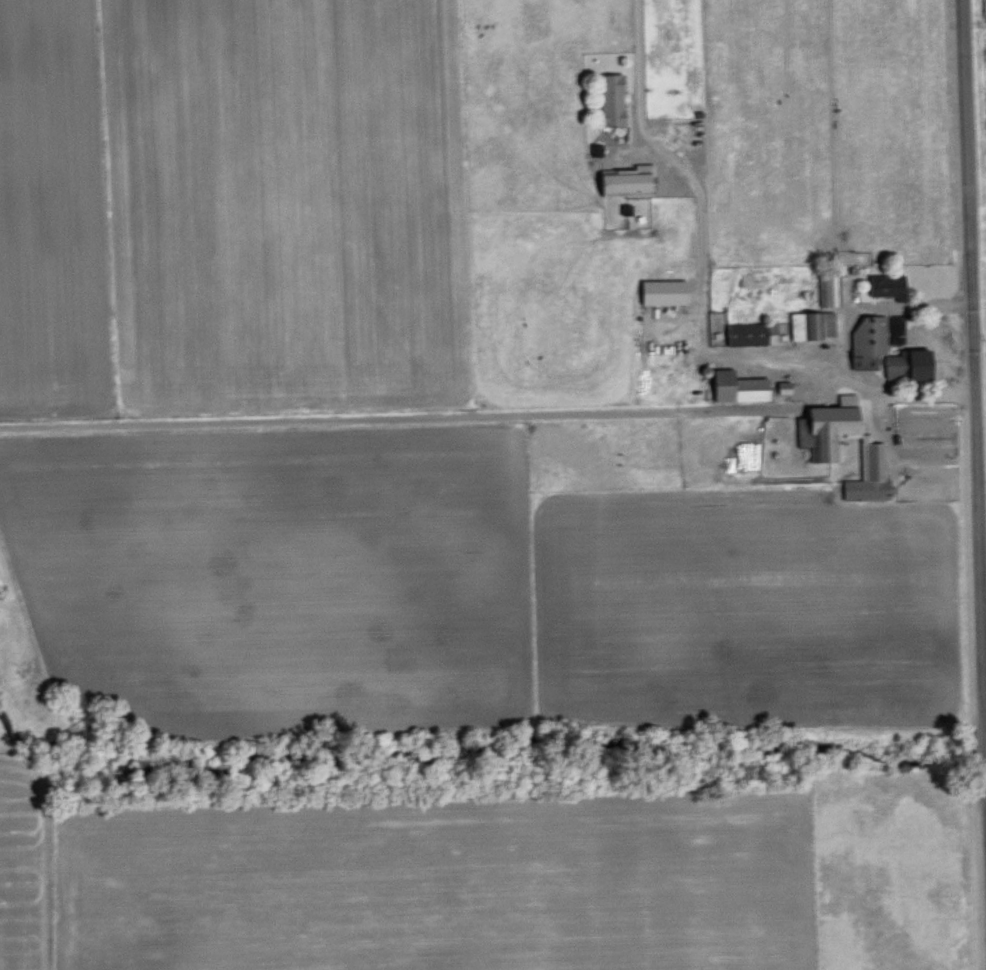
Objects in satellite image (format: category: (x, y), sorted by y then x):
building: (612, 99)
building: (624, 183)
road: (691, 233)
building: (887, 285)
building: (829, 288)
building: (663, 292)
building: (812, 325)
building: (751, 333)
building: (869, 339)
road: (970, 359)
road: (832, 360)
building: (909, 365)
building: (737, 387)
building: (822, 447)

